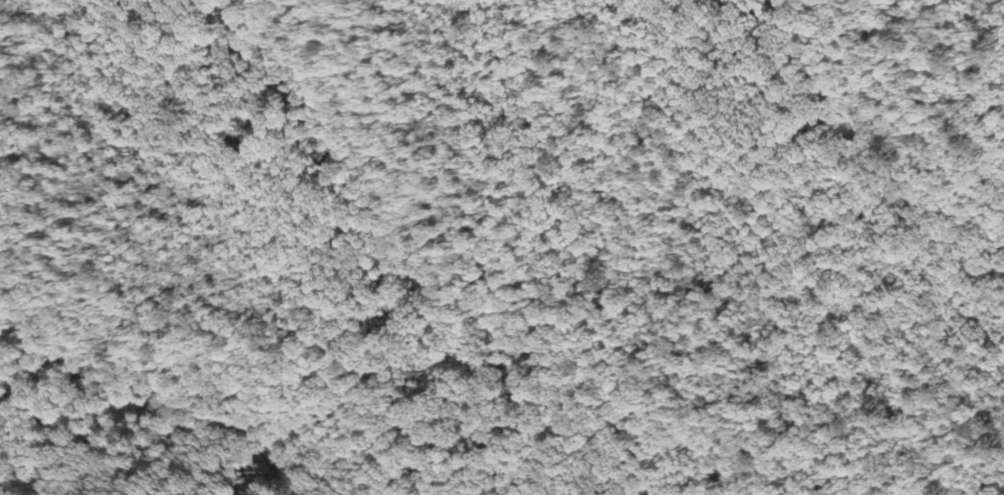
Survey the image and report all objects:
road: (128, 149)
road: (497, 272)

